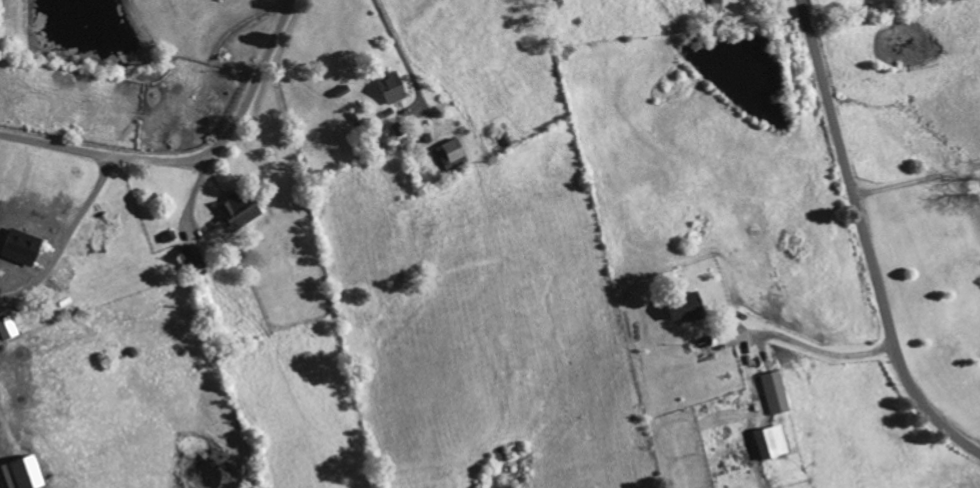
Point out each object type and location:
building: (389, 95)
building: (447, 155)
road: (191, 157)
road: (918, 182)
building: (233, 213)
road: (868, 239)
building: (20, 250)
building: (190, 262)
building: (678, 308)
building: (5, 329)
building: (770, 394)
building: (766, 444)
building: (17, 474)

